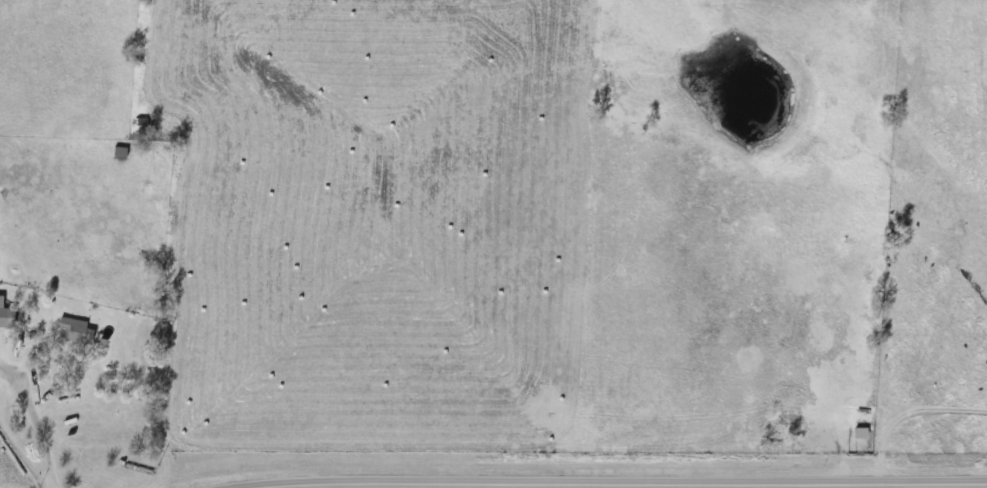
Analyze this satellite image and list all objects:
building: (118, 151)
building: (5, 317)
building: (76, 332)
road: (34, 422)
road: (626, 484)

